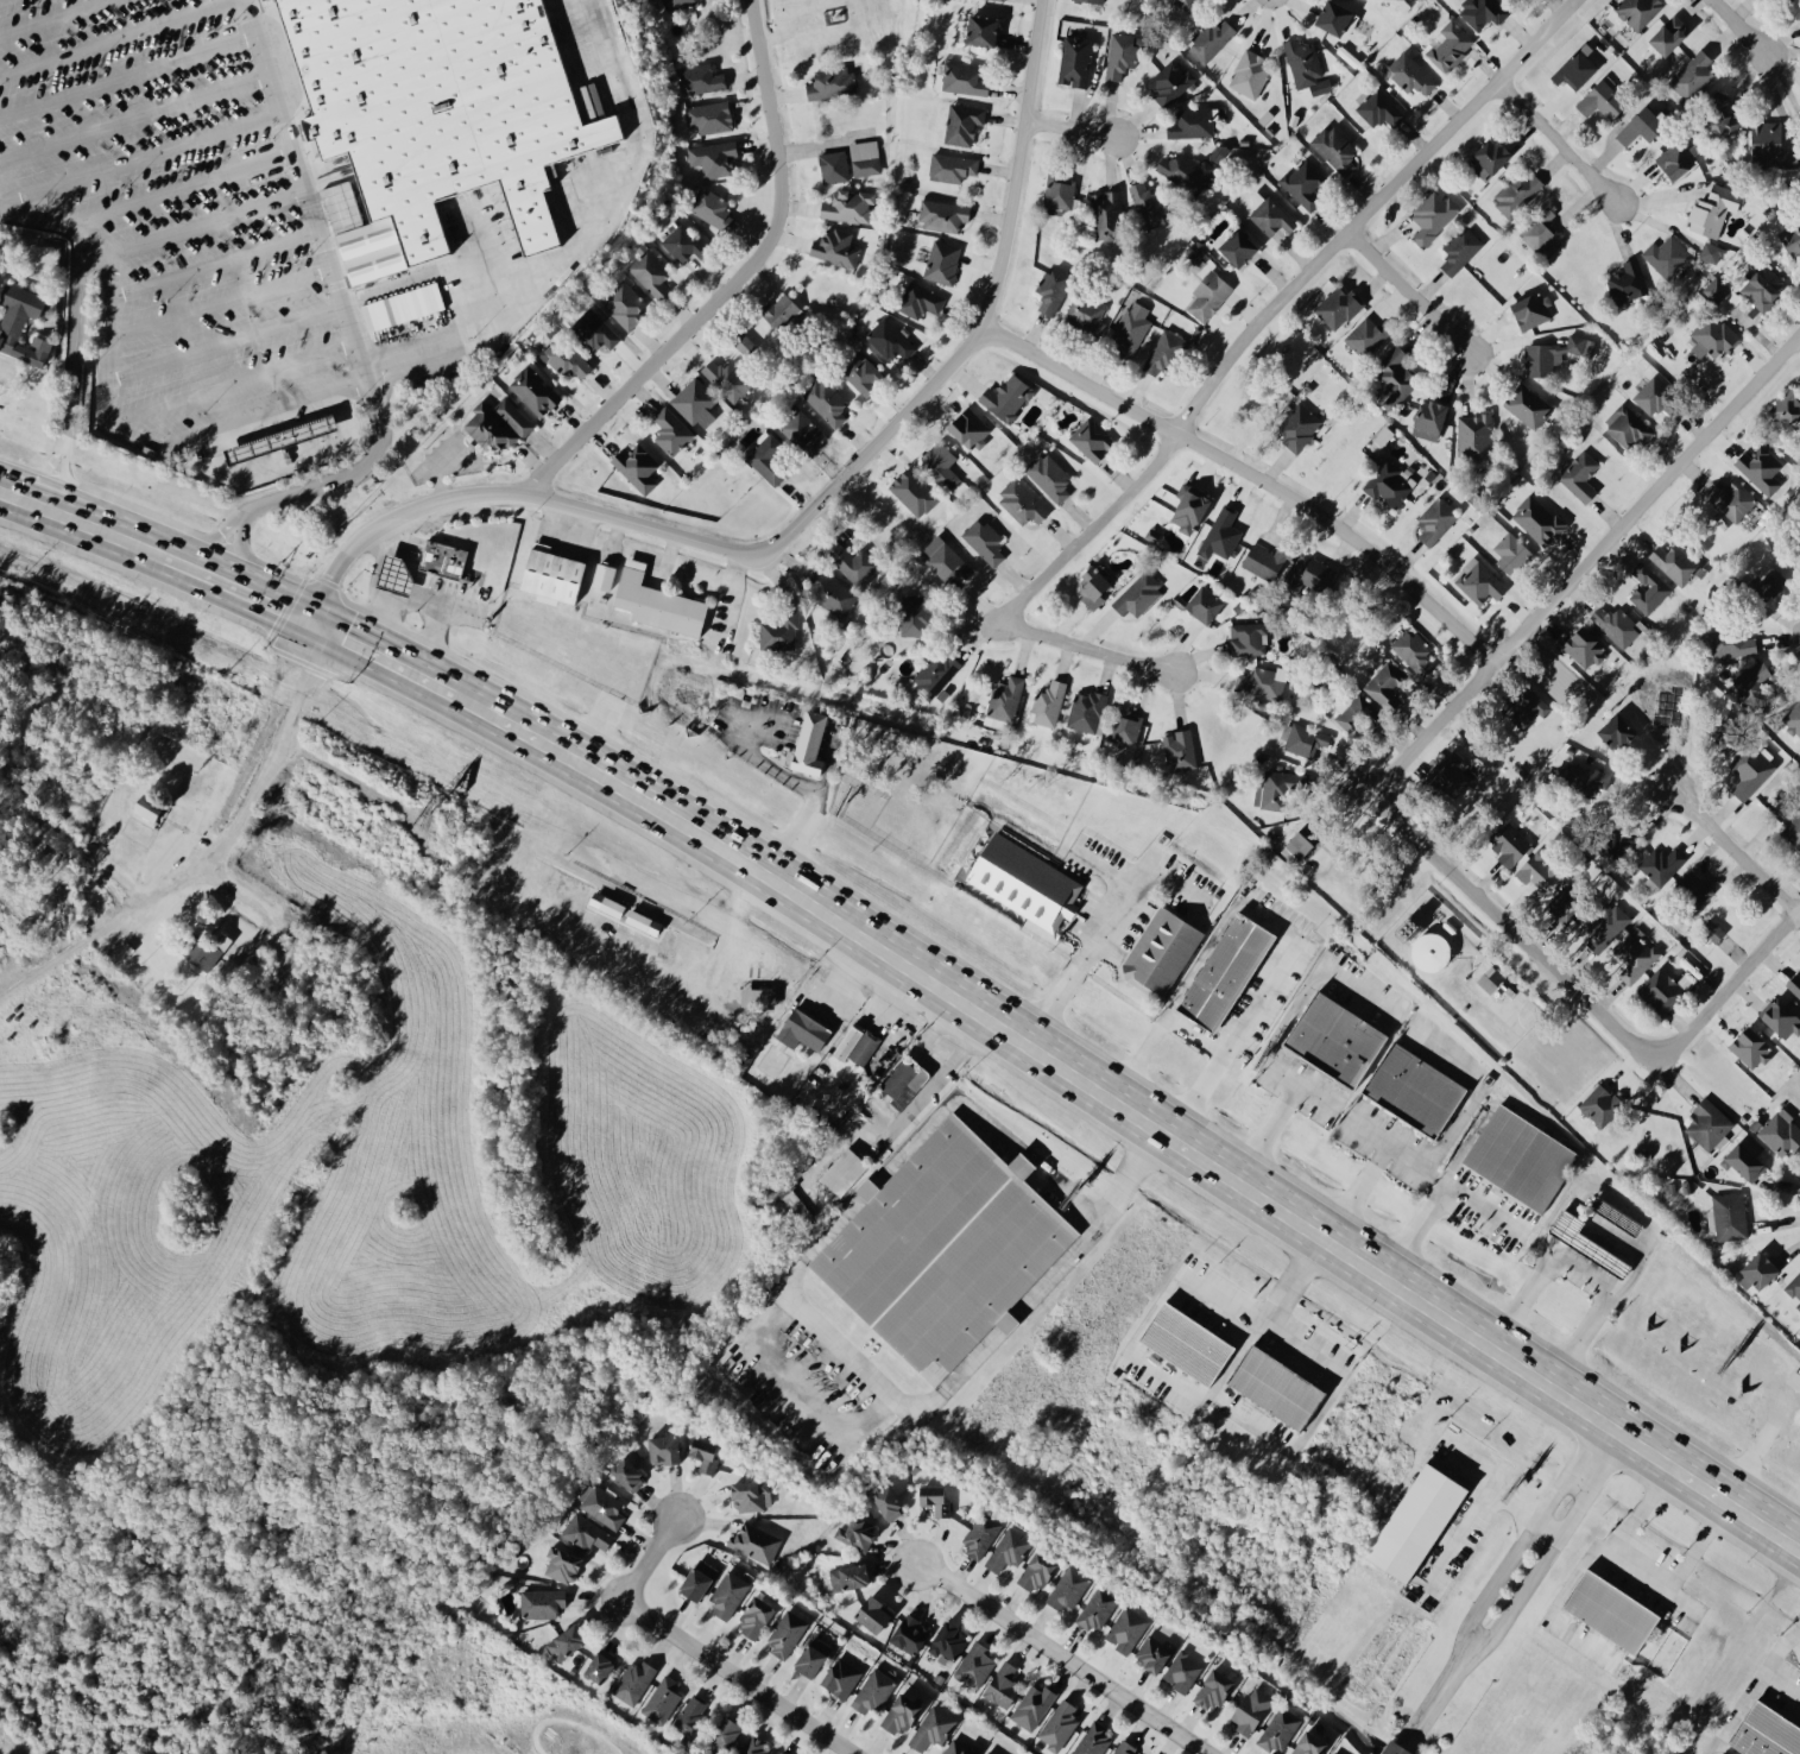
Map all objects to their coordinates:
building: (1002, 0)
building: (1094, 0)
building: (1515, 0)
building: (1182, 2)
building: (678, 4)
building: (1637, 11)
building: (1483, 12)
road: (53, 17)
building: (1335, 18)
park: (838, 21)
road: (1742, 25)
building: (981, 29)
building: (1668, 33)
road: (116, 37)
building: (1210, 39)
building: (1120, 55)
building: (1075, 59)
building: (1306, 67)
building: (1575, 67)
building: (1249, 74)
building: (1409, 74)
building: (1692, 75)
road: (122, 77)
building: (699, 78)
building: (964, 78)
building: (830, 81)
building: (1169, 82)
building: (1600, 100)
building: (1378, 108)
building: (1722, 115)
building: (708, 116)
road: (128, 118)
building: (428, 119)
building: (962, 122)
building: (1641, 126)
road: (1068, 128)
road: (1559, 137)
building: (1771, 144)
building: (1334, 147)
building: (1218, 152)
building: (864, 157)
building: (1490, 157)
building: (713, 158)
building: (1676, 158)
road: (135, 163)
building: (833, 166)
building: (952, 166)
building: (1186, 170)
building: (1303, 182)
parking lot: (308, 189)
road: (176, 190)
road: (297, 190)
building: (1060, 191)
building: (1517, 193)
road: (610, 197)
building: (1148, 204)
building: (847, 206)
building: (710, 208)
building: (1713, 209)
building: (1268, 213)
building: (942, 215)
building: (1106, 215)
building: (1433, 215)
road: (191, 226)
building: (1540, 229)
building: (1792, 239)
building: (682, 244)
building: (1237, 246)
building: (835, 247)
building: (1460, 250)
building: (1667, 257)
building: (942, 261)
road: (208, 264)
building: (649, 272)
road: (731, 282)
building: (1628, 282)
building: (1762, 286)
building: (1053, 289)
road: (1410, 290)
building: (1722, 294)
building: (1208, 295)
building: (918, 299)
road: (1275, 302)
building: (624, 304)
road: (216, 305)
building: (1338, 307)
building: (1531, 309)
building: (779, 310)
building: (1086, 311)
building: (413, 314)
building: (20, 323)
building: (1130, 328)
building: (594, 330)
building: (1366, 335)
building: (1712, 336)
building: (889, 339)
building: (743, 343)
road: (223, 347)
road: (339, 347)
building: (1163, 352)
building: (1554, 353)
building: (564, 357)
building: (860, 372)
building: (1395, 377)
building: (727, 379)
road: (70, 385)
building: (533, 390)
building: (1006, 397)
building: (1654, 397)
building: (693, 399)
building: (826, 400)
building: (1527, 404)
building: (1787, 409)
building: (1428, 419)
road: (105, 421)
building: (497, 424)
building: (1297, 425)
building: (1628, 425)
building: (797, 428)
building: (970, 428)
building: (670, 430)
building: (1473, 435)
building: (1091, 438)
building: (283, 440)
gas station: (283, 440)
building: (769, 459)
building: (941, 465)
road: (292, 466)
building: (637, 467)
road: (1248, 468)
building: (1760, 468)
building: (1048, 475)
building: (1580, 475)
building: (1388, 482)
road: (317, 491)
building: (912, 492)
road: (823, 493)
road: (6, 494)
building: (1731, 498)
building: (1022, 503)
building: (1188, 509)
road: (53, 512)
building: (1435, 519)
building: (1537, 520)
building: (1220, 532)
road: (115, 538)
building: (984, 541)
building: (1510, 553)
road: (1594, 555)
building: (441, 559)
building: (1264, 560)
building: (851, 561)
building: (947, 562)
building: (1675, 563)
building: (1308, 574)
building: (394, 575)
gas station: (394, 575)
building: (551, 575)
building: (602, 575)
road: (219, 581)
building: (1479, 581)
building: (1766, 581)
building: (1092, 586)
building: (1648, 588)
road: (726, 593)
building: (830, 594)
building: (1138, 594)
road: (312, 599)
road: (393, 599)
building: (657, 601)
building: (1204, 604)
building: (914, 616)
traffic signals: (301, 618)
road: (375, 624)
building: (1616, 625)
building: (778, 631)
building: (1248, 638)
road: (1086, 644)
building: (1731, 644)
building: (1584, 646)
road: (380, 658)
building: (933, 675)
building: (1263, 682)
building: (1751, 682)
building: (1383, 683)
building: (1005, 699)
building: (1047, 704)
building: (1527, 707)
building: (1086, 711)
building: (1356, 714)
building: (1793, 718)
building: (1125, 726)
building: (1616, 732)
building: (1305, 740)
building: (809, 743)
building: (1179, 750)
road: (272, 765)
building: (1751, 770)
building: (1451, 774)
building: (1584, 777)
road: (815, 788)
building: (1272, 790)
building: (144, 813)
building: (1794, 832)
building: (1301, 841)
building: (1617, 841)
building: (1509, 844)
road: (1737, 847)
building: (1662, 864)
building: (1539, 871)
building: (552, 881)
building: (1024, 882)
building: (1694, 888)
building: (606, 903)
building: (1565, 904)
road: (1507, 917)
building: (643, 922)
building: (1608, 923)
building: (1712, 930)
road: (1097, 938)
building: (204, 951)
building: (1161, 951)
building: (1430, 952)
building: (1635, 955)
building: (1225, 971)
building: (1488, 980)
building: (1794, 985)
building: (1661, 990)
road: (1729, 990)
building: (757, 997)
building: (1781, 1017)
building: (802, 1030)
road: (1190, 1034)
building: (1334, 1039)
building: (855, 1045)
building: (1750, 1047)
road: (1274, 1049)
building: (903, 1081)
building: (1414, 1090)
road: (1310, 1096)
building: (1600, 1105)
road: (907, 1113)
road: (1132, 1121)
road: (1448, 1124)
building: (1707, 1124)
building: (1781, 1134)
building: (1521, 1157)
building: (1744, 1162)
building: (844, 1172)
road: (1352, 1191)
road: (1103, 1198)
road: (1483, 1204)
building: (1616, 1214)
building: (1730, 1216)
road: (1423, 1220)
building: (1586, 1243)
building: (950, 1249)
road: (1637, 1250)
building: (1758, 1272)
road: (1581, 1274)
road: (1288, 1282)
building: (1794, 1291)
building: (1182, 1342)
building: (1272, 1386)
road: (1200, 1395)
road: (1771, 1419)
building: (663, 1447)
building: (703, 1452)
building: (626, 1472)
building: (751, 1494)
building: (935, 1497)
road: (1488, 1500)
building: (888, 1502)
building: (600, 1506)
road: (1529, 1508)
building: (1425, 1521)
building: (855, 1532)
building: (586, 1533)
building: (979, 1533)
building: (753, 1541)
road: (1523, 1541)
building: (1008, 1548)
road: (1547, 1557)
building: (561, 1564)
building: (1036, 1570)
road: (1635, 1575)
building: (848, 1576)
building: (697, 1578)
building: (1068, 1586)
building: (727, 1594)
building: (541, 1602)
road: (1678, 1602)
building: (1097, 1608)
building: (1617, 1609)
building: (872, 1613)
building: (754, 1616)
building: (1126, 1628)
building: (909, 1633)
building: (785, 1634)
building: (948, 1640)
building: (566, 1641)
road: (701, 1646)
building: (1152, 1652)
building: (813, 1655)
road: (1065, 1658)
building: (974, 1664)
road: (1764, 1664)
building: (599, 1666)
building: (1182, 1670)
building: (840, 1677)
building: (633, 1682)
building: (1002, 1685)
building: (1213, 1687)
building: (872, 1690)
building: (662, 1699)
building: (1032, 1705)
building: (1250, 1709)
road: (1425, 1709)
road: (1733, 1711)
building: (901, 1714)
building: (690, 1715)
building: (1059, 1724)
building: (933, 1728)
building: (1278, 1729)
building: (1771, 1731)
building: (722, 1734)
building: (1093, 1739)
building: (1308, 1743)
building: (754, 1744)
building: (959, 1747)
building: (1124, 1747)
building: (1396, 1748)
building: (990, 1752)
building: (1333, 1752)
building: (781, 1753)

